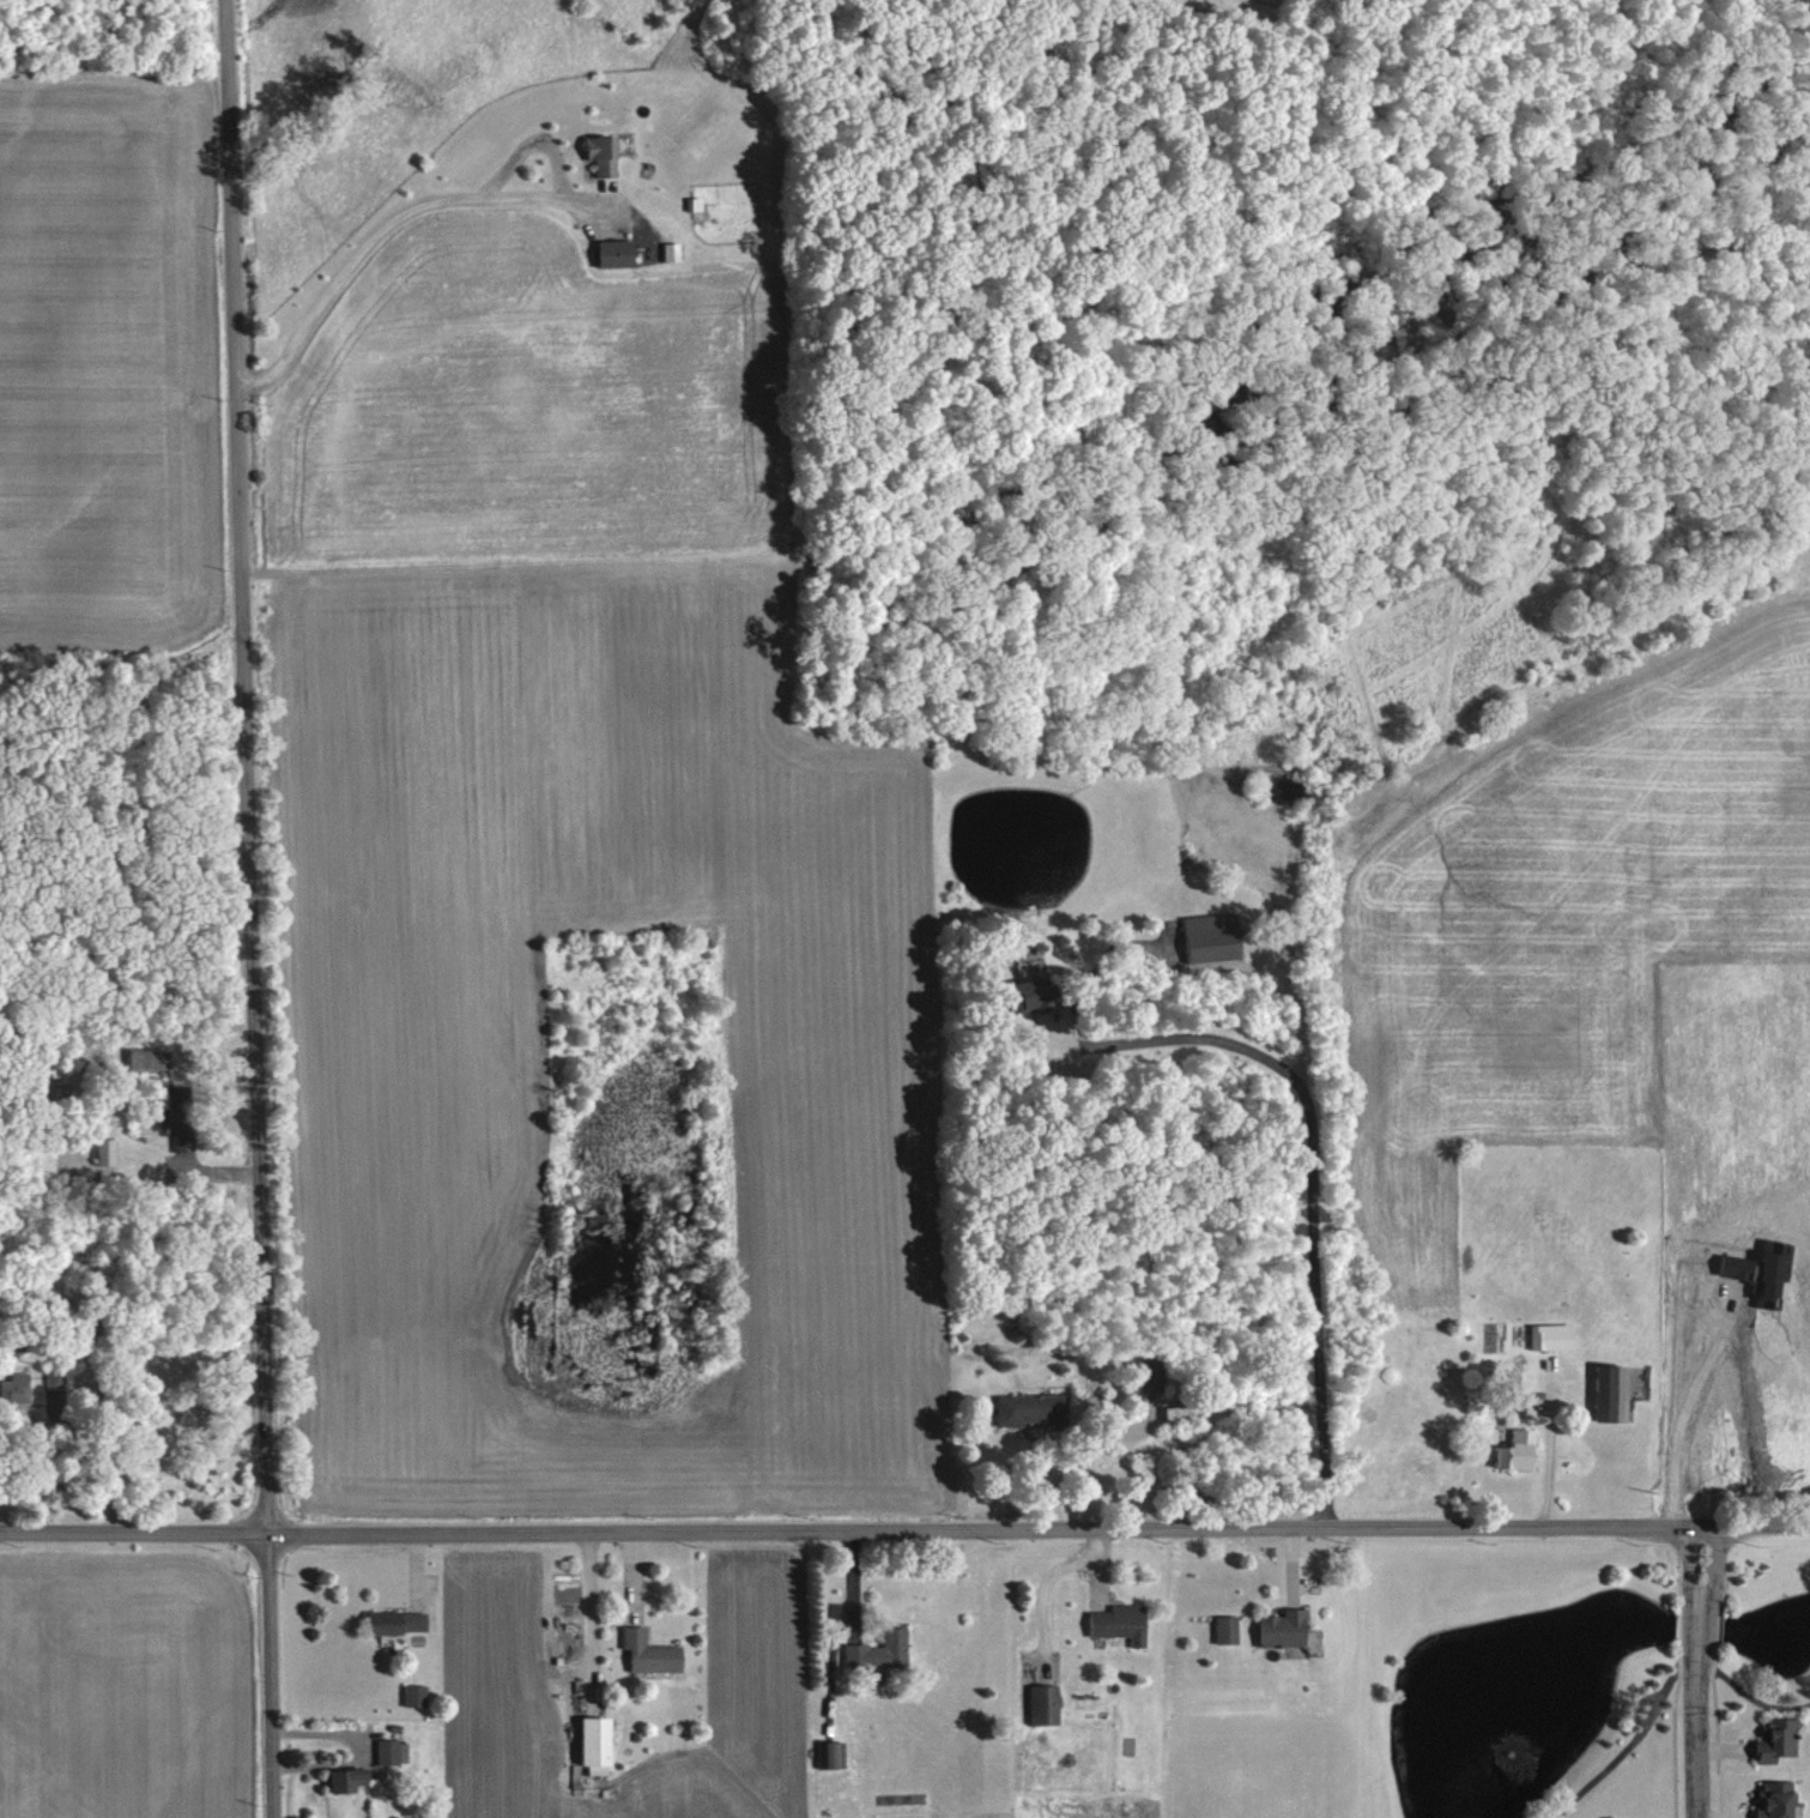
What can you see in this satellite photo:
building: (593, 155)
road: (386, 225)
building: (609, 253)
road: (255, 908)
building: (1204, 937)
building: (1017, 995)
building: (145, 1058)
road: (1312, 1177)
building: (1543, 1335)
building: (1600, 1391)
building: (1508, 1400)
building: (1025, 1408)
building: (1511, 1450)
road: (1548, 1458)
road: (904, 1522)
road: (1685, 1575)
road: (1711, 1576)
road: (612, 1612)
building: (389, 1620)
building: (1112, 1621)
building: (1219, 1627)
building: (1275, 1627)
building: (873, 1650)
building: (643, 1653)
building: (410, 1693)
building: (1037, 1703)
road: (1694, 1723)
building: (1769, 1739)
building: (585, 1742)
building: (387, 1751)
building: (824, 1753)
building: (339, 1777)
building: (1767, 1799)

